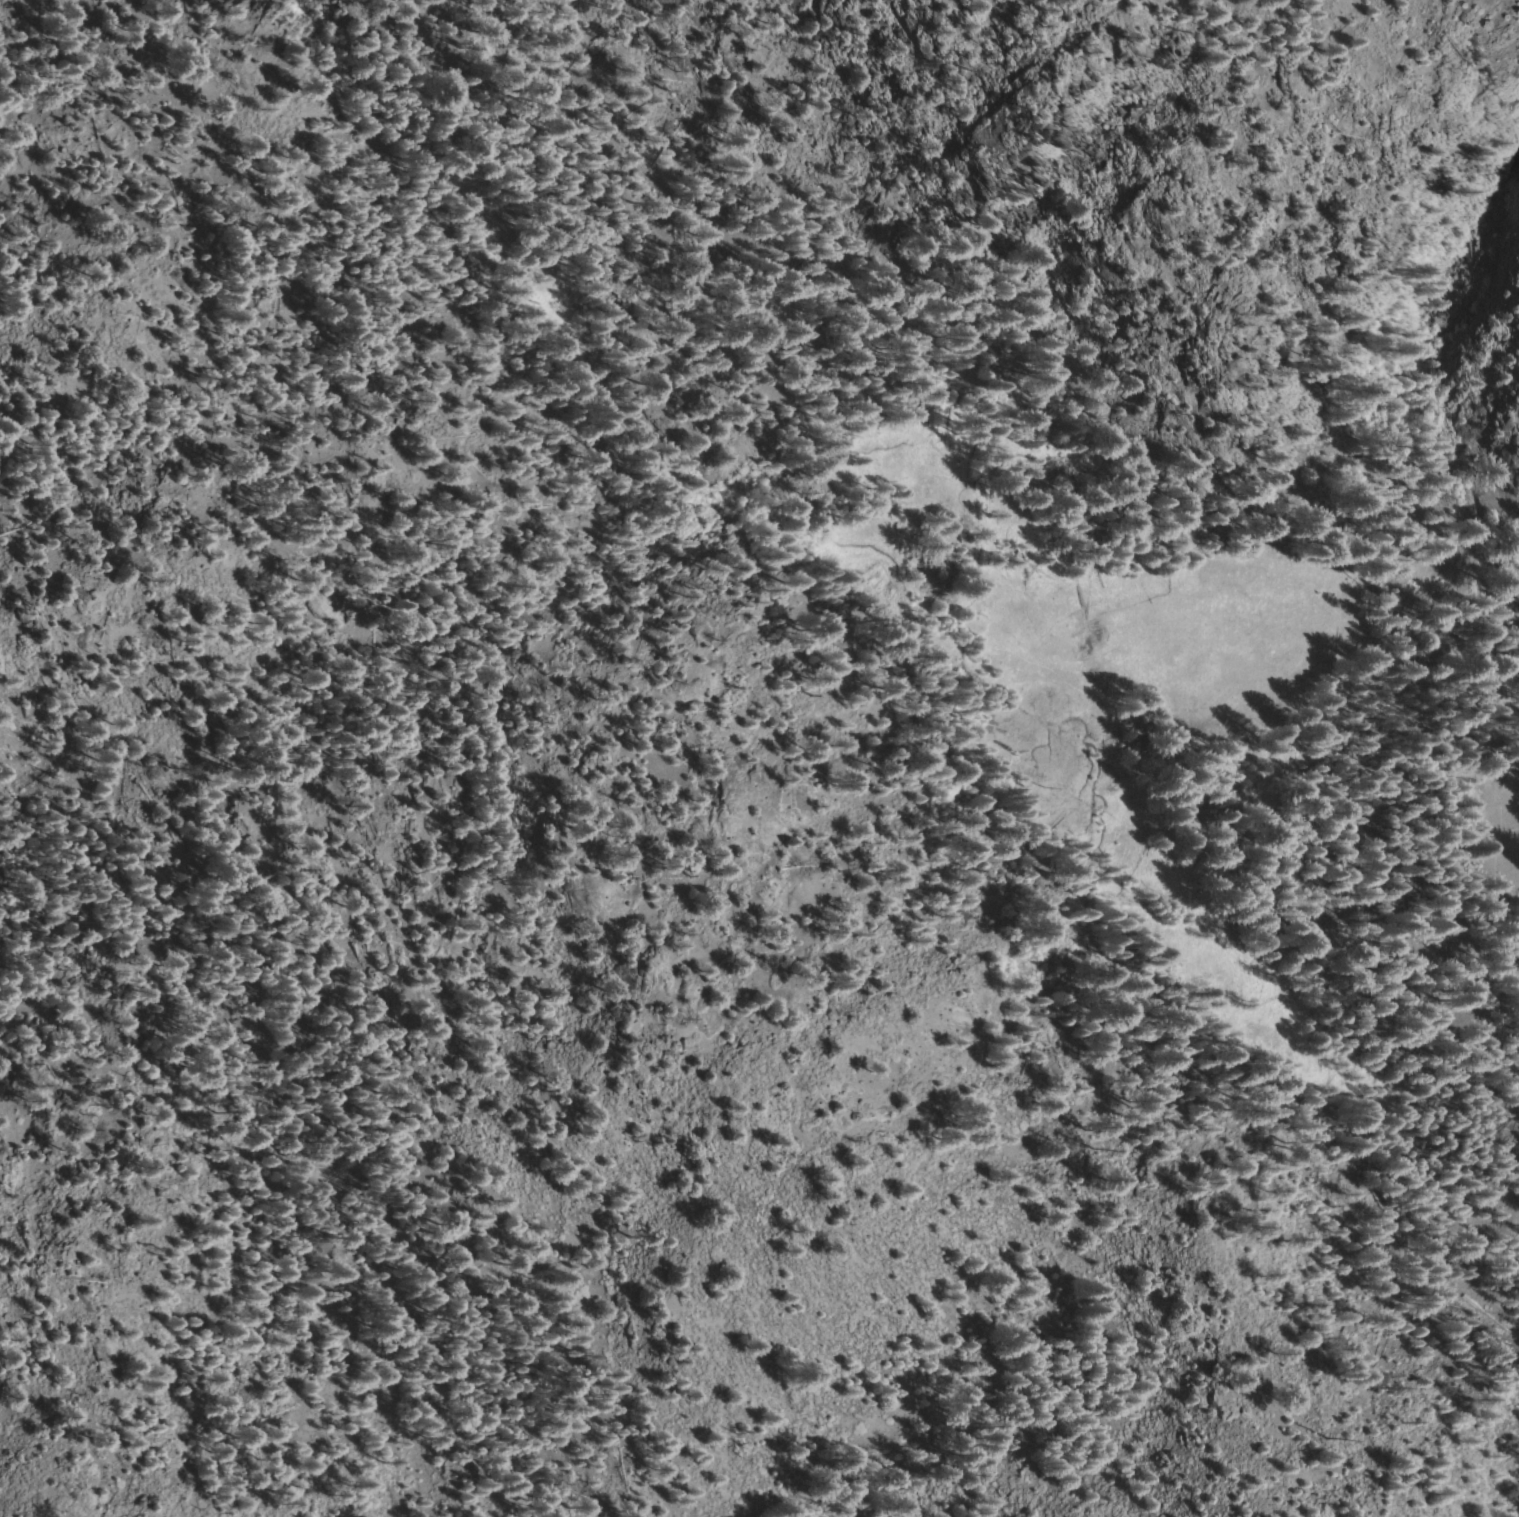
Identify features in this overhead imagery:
road: (1139, 480)

